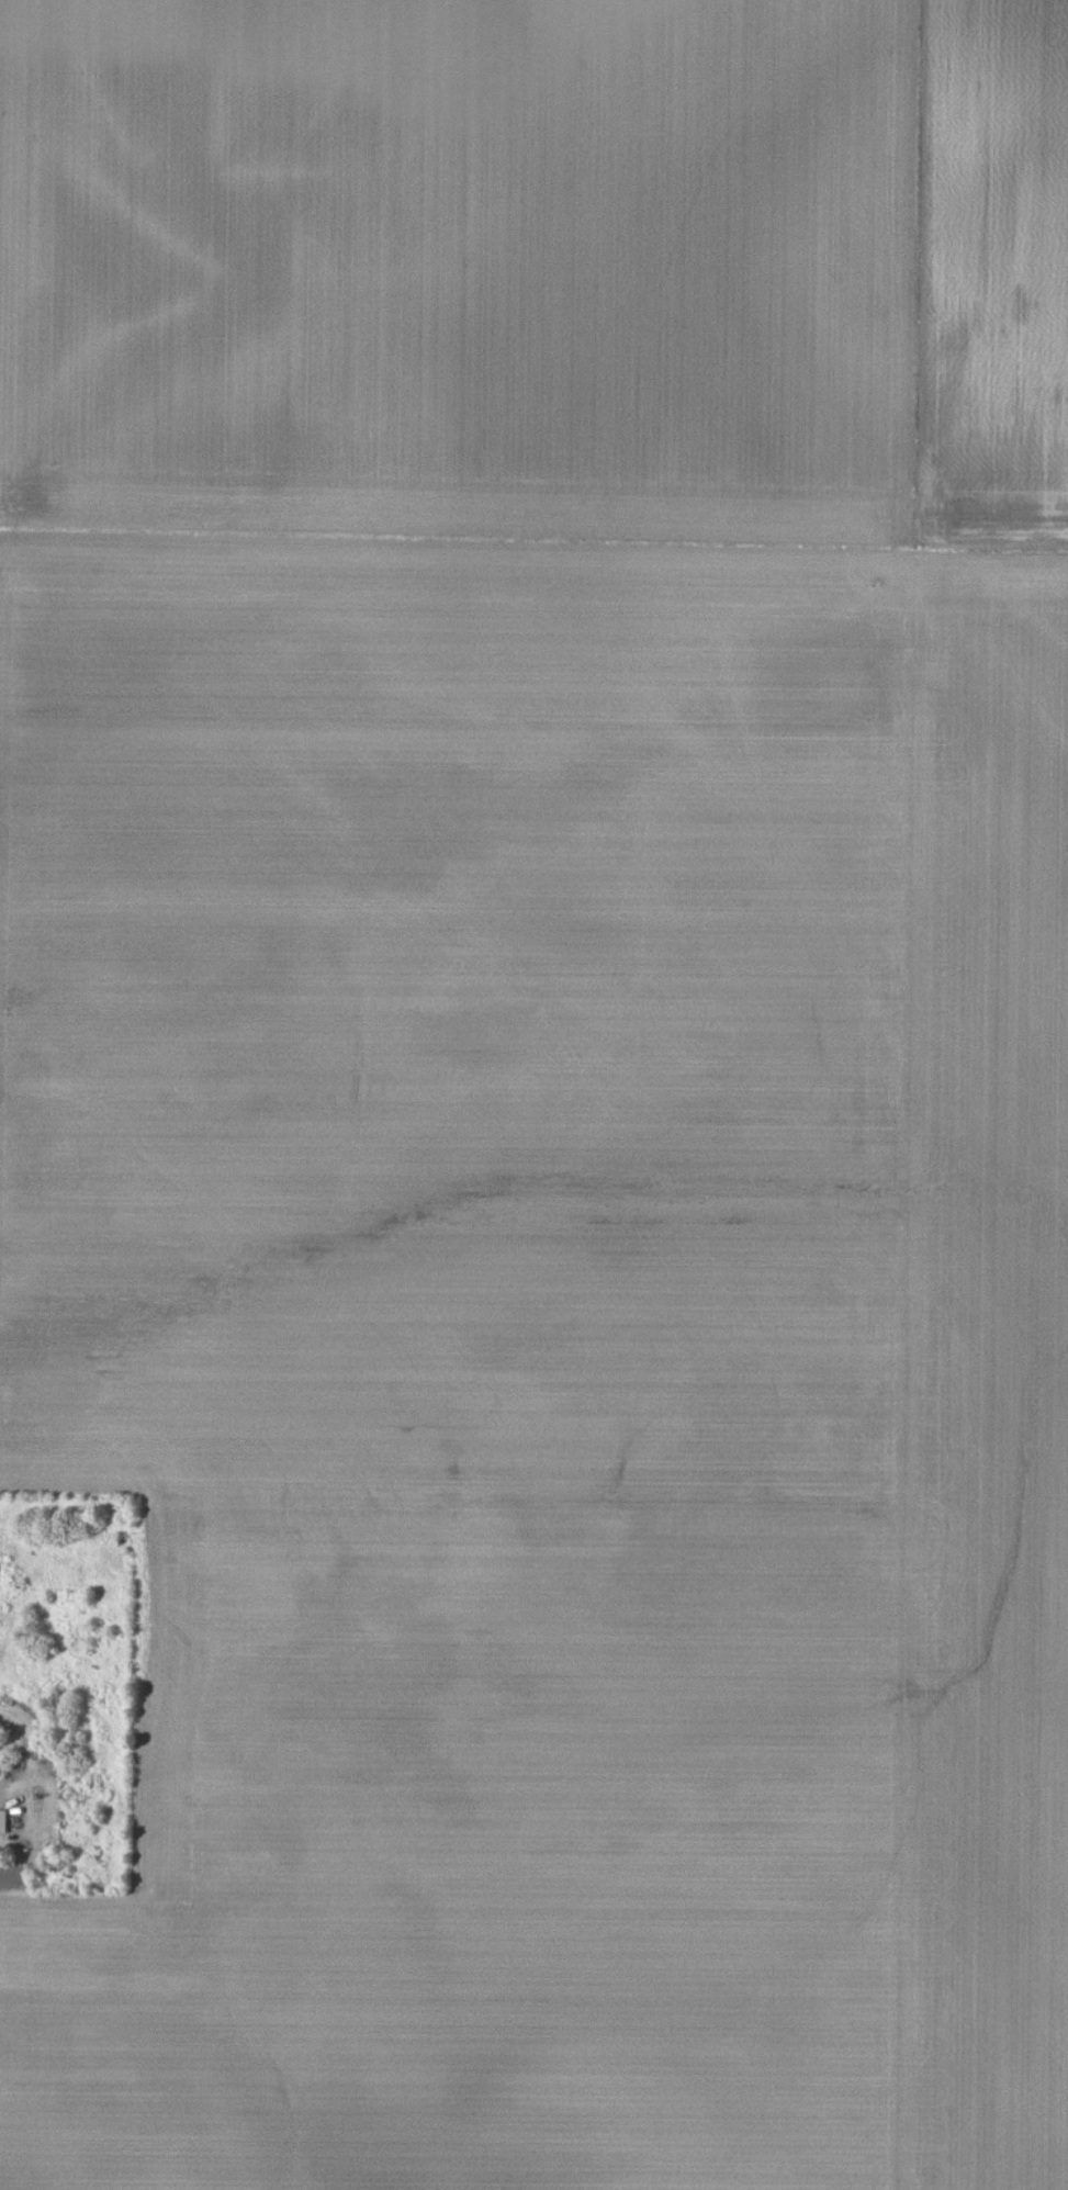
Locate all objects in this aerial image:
road: (22, 1743)

